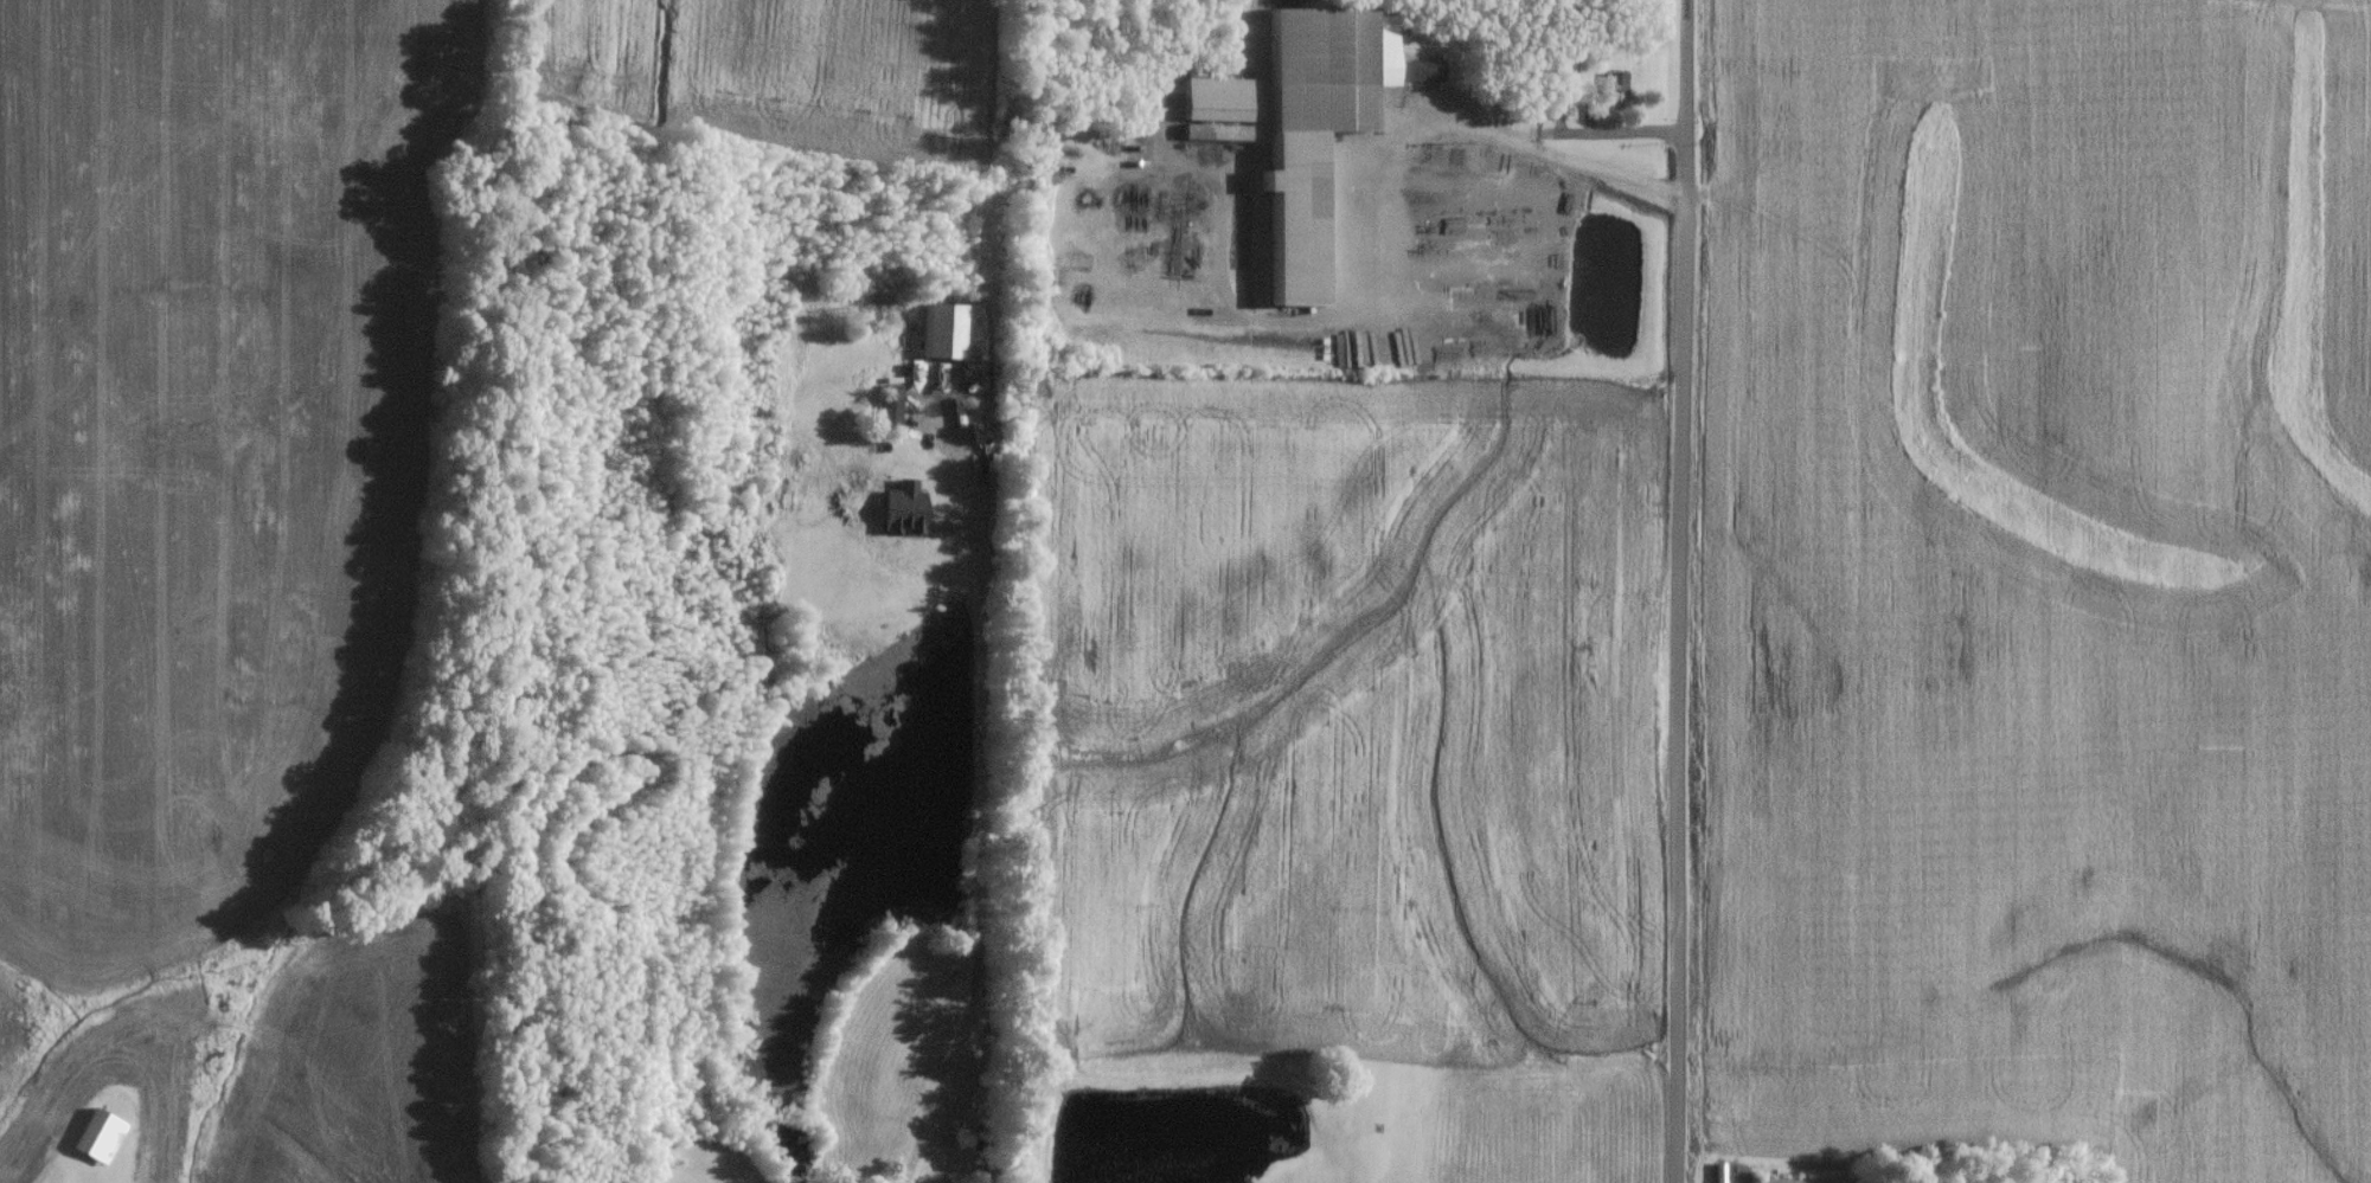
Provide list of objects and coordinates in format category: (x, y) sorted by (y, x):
building: (1613, 90)
building: (1212, 109)
building: (1314, 128)
road: (1520, 141)
building: (889, 410)
building: (930, 499)
road: (1678, 591)
road: (987, 841)
building: (95, 1139)
building: (1801, 1181)

